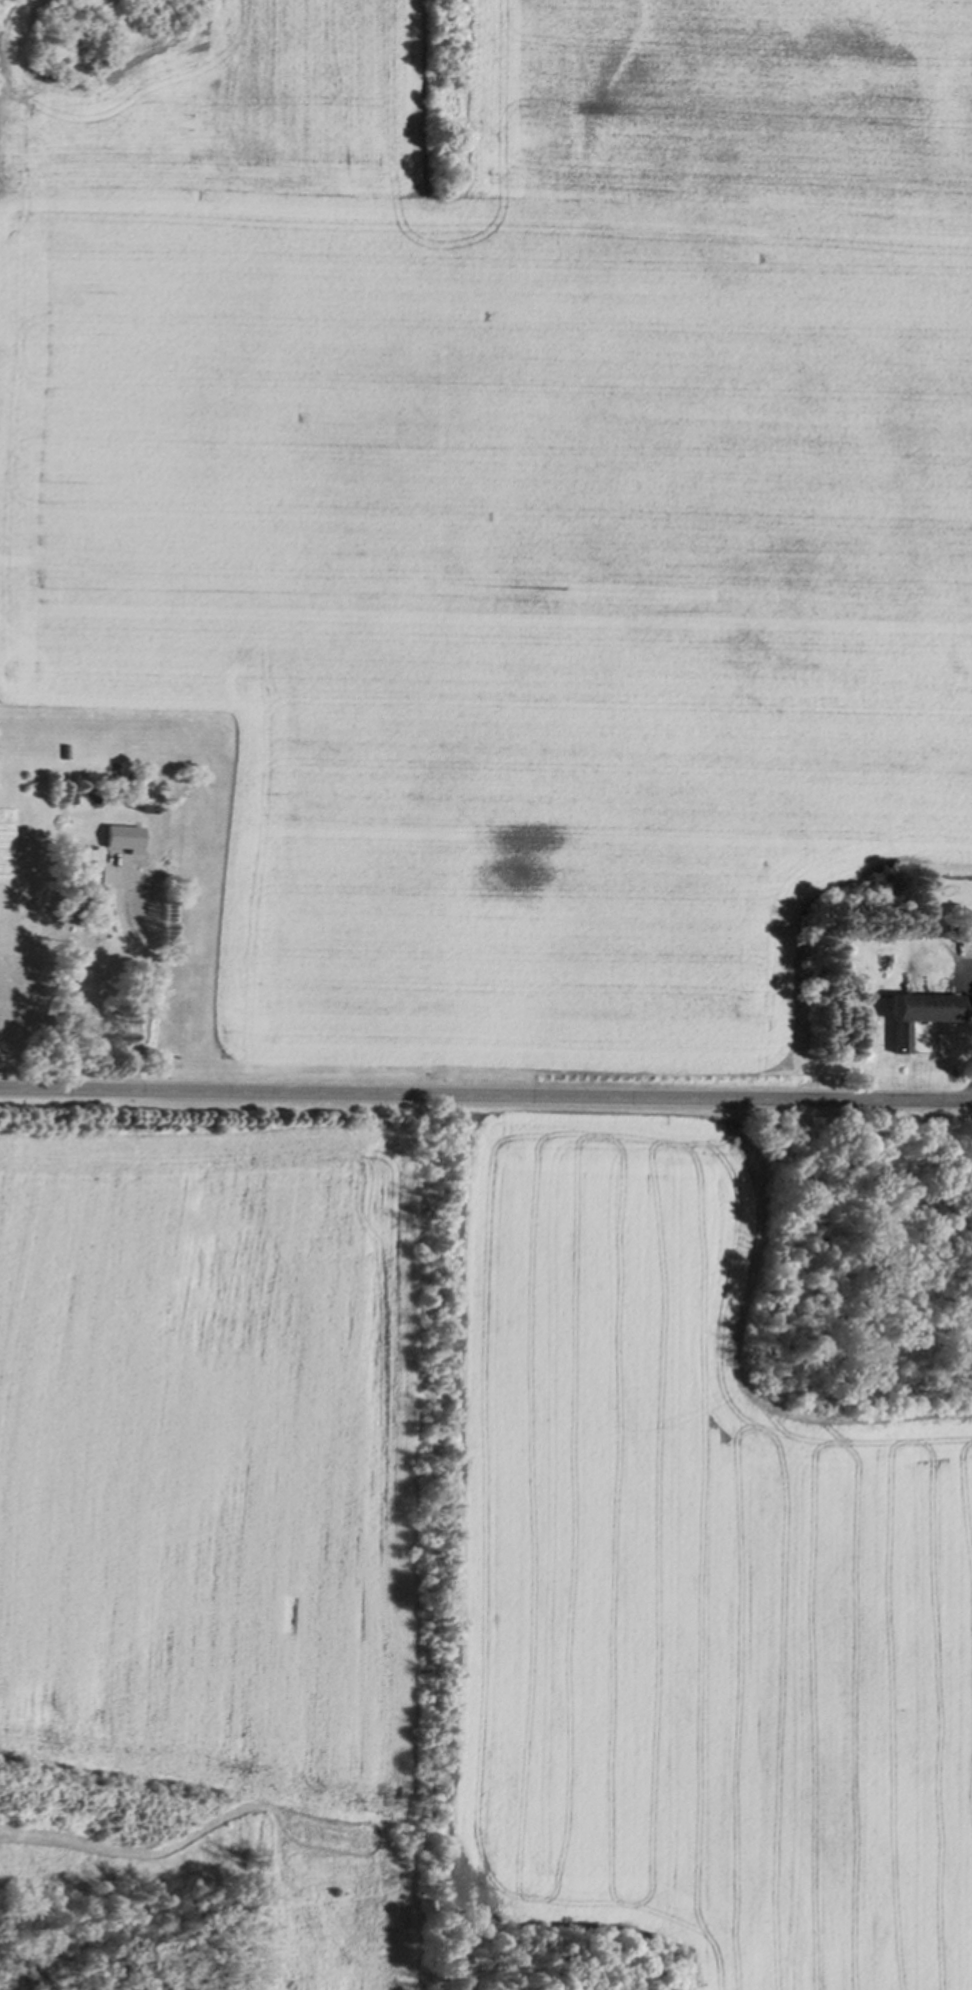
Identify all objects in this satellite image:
crop: (504, 487)
road: (153, 929)
building: (917, 1008)
road: (486, 1088)
crop: (479, 1525)

